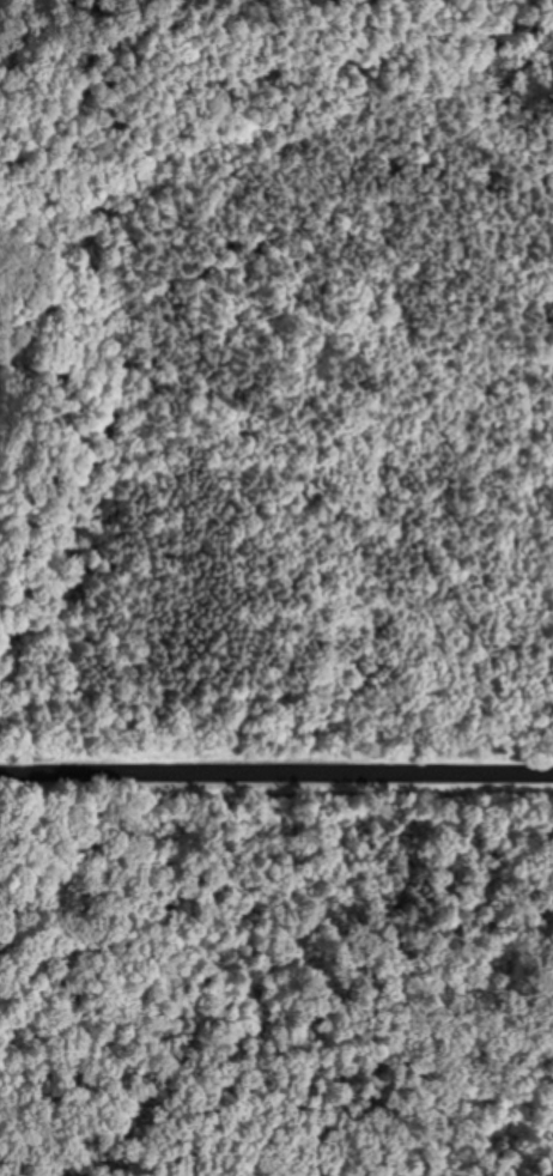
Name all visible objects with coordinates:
road: (276, 772)

